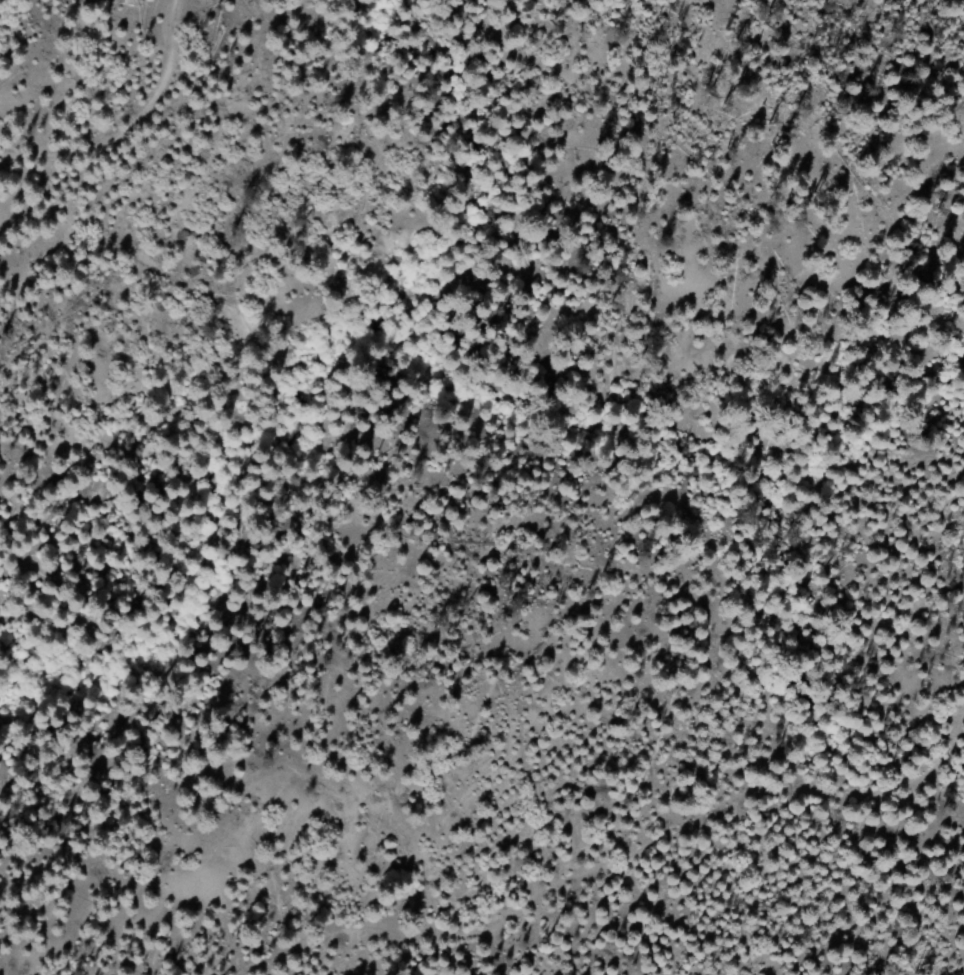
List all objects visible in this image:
road: (120, 123)

